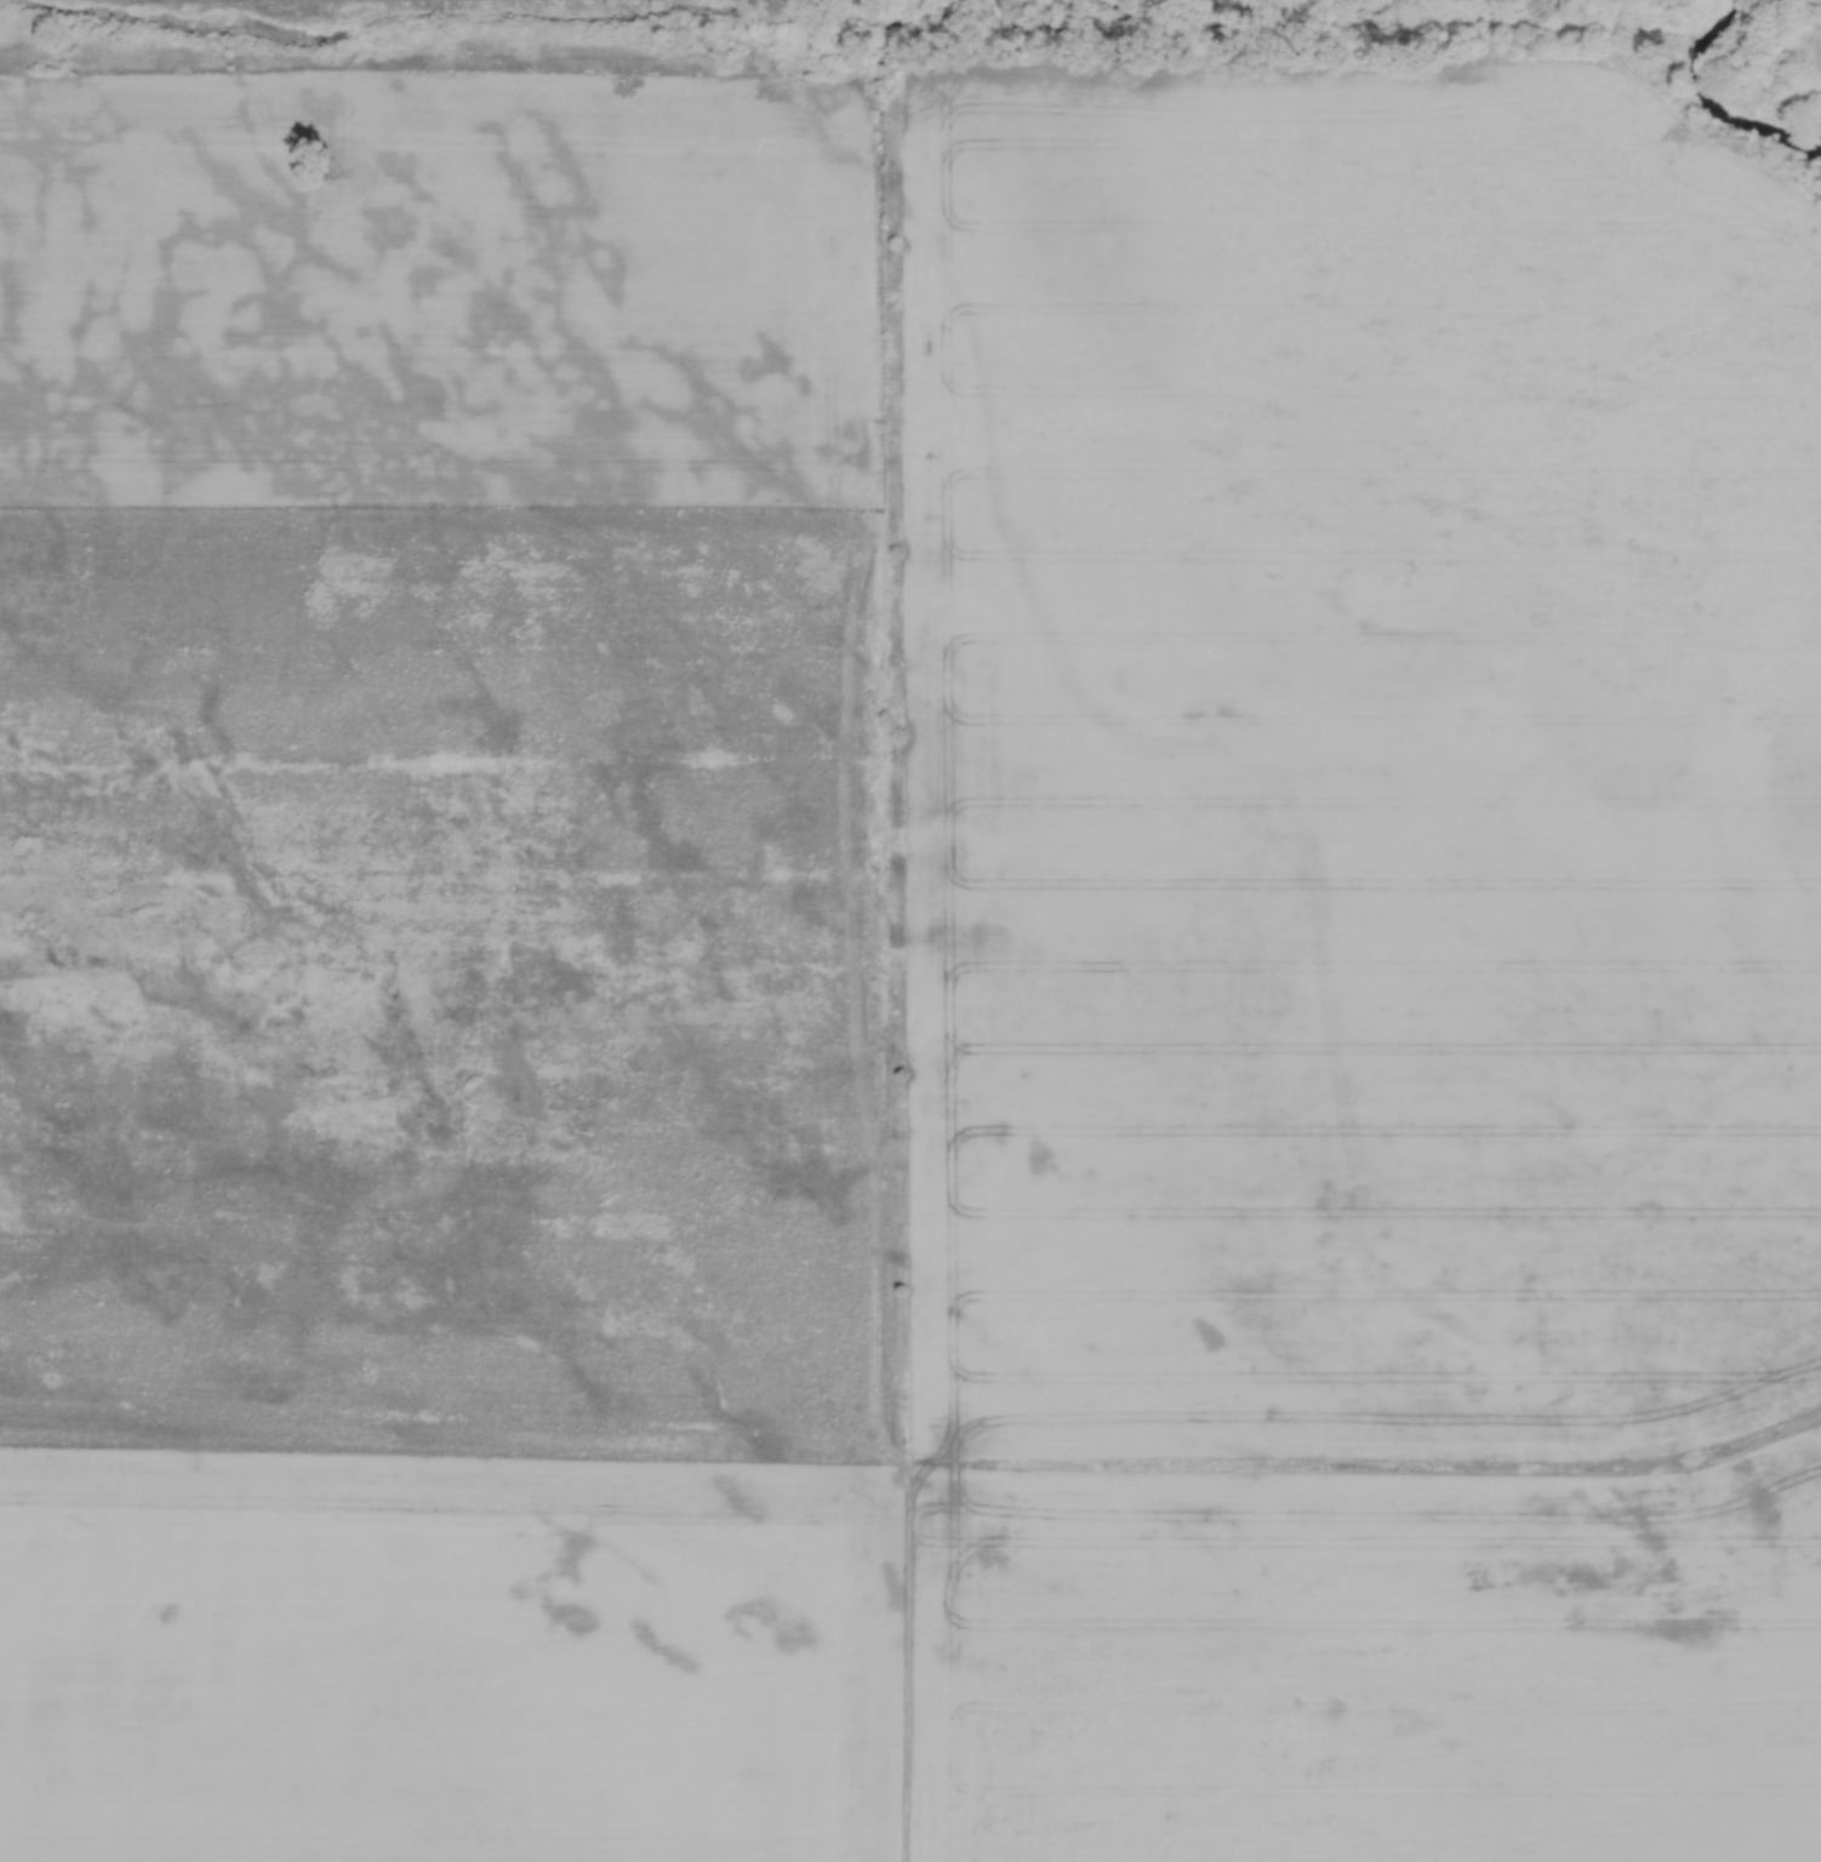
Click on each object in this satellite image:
river: (1712, 107)

